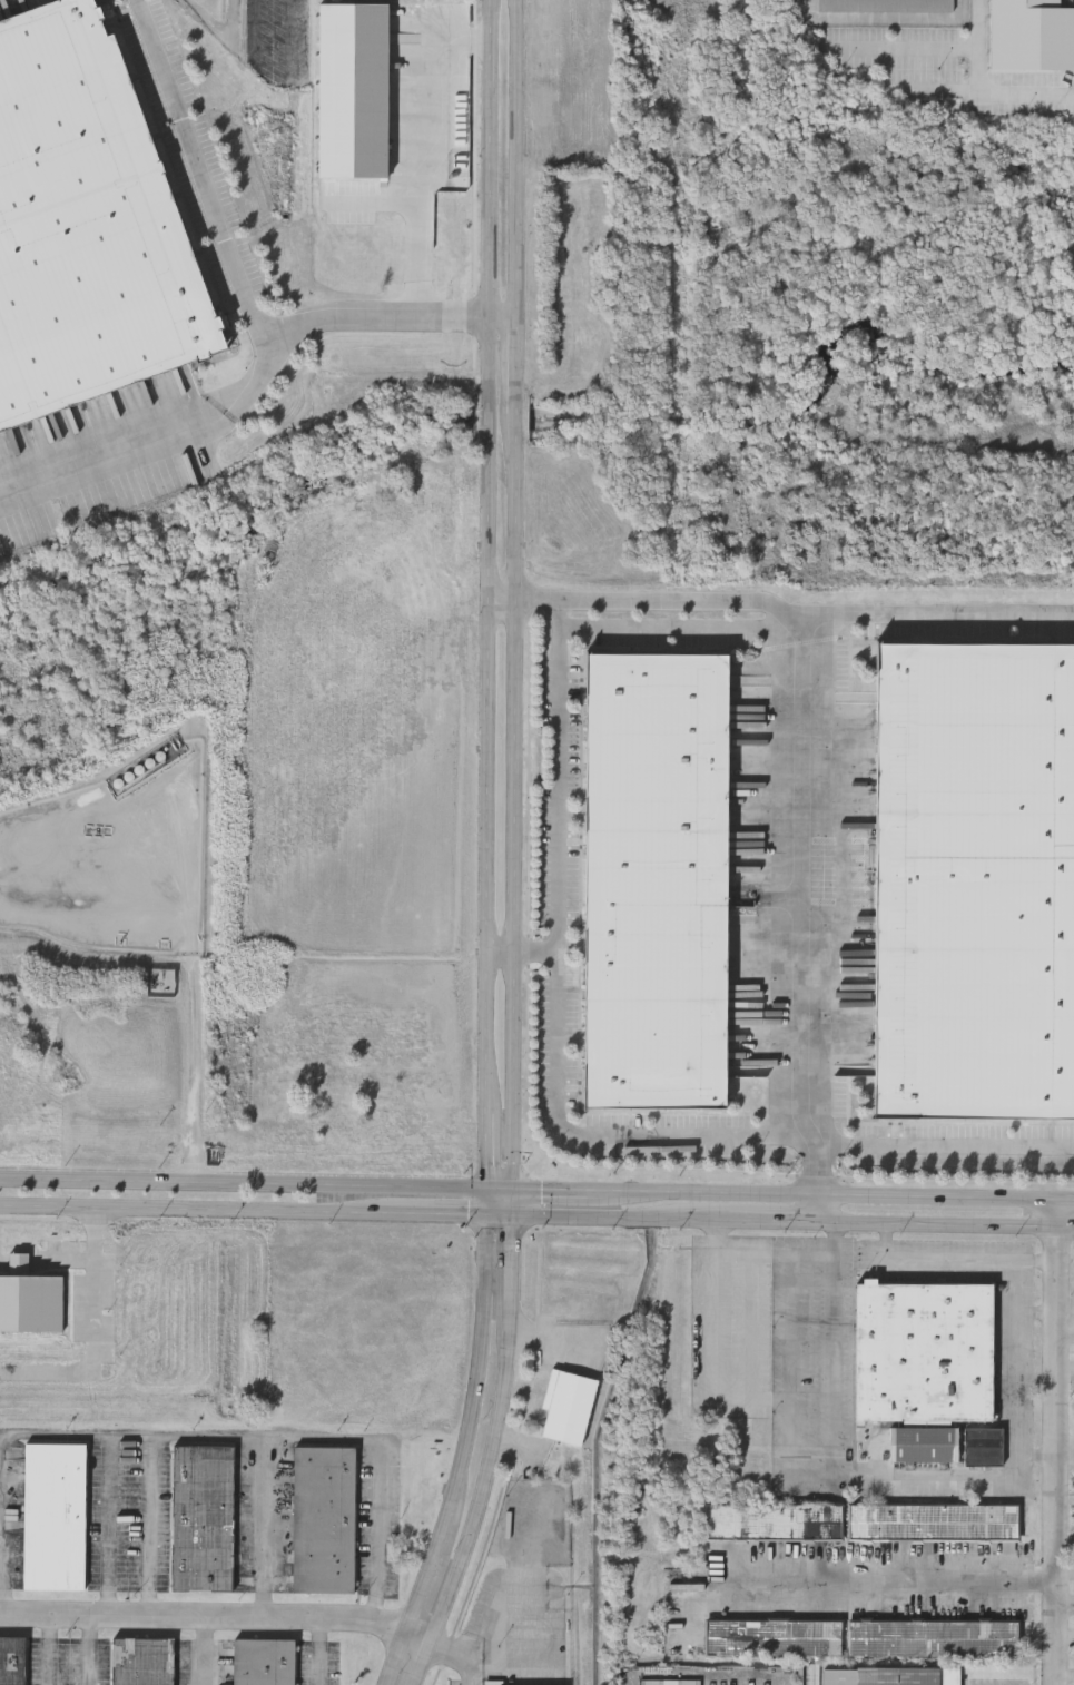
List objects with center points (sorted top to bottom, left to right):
building: (885, 4)
road: (886, 16)
road: (231, 22)
road: (255, 30)
road: (292, 40)
road: (906, 48)
road: (981, 90)
road: (420, 151)
building: (85, 223)
road: (393, 318)
road: (267, 323)
road: (650, 593)
road: (516, 597)
road: (679, 625)
building: (155, 763)
road: (809, 785)
road: (486, 849)
building: (543, 860)
building: (974, 878)
building: (656, 880)
road: (522, 953)
road: (558, 988)
building: (542, 1047)
road: (194, 1074)
road: (945, 1142)
road: (256, 1184)
traffic signals: (487, 1193)
traffic signals: (512, 1193)
road: (550, 1193)
road: (822, 1193)
road: (1065, 1202)
road: (512, 1204)
traffic signals: (486, 1216)
traffic signals: (512, 1216)
road: (536, 1216)
road: (954, 1257)
road: (1036, 1311)
road: (97, 1338)
road: (549, 1340)
building: (923, 1362)
road: (1016, 1376)
road: (772, 1397)
building: (568, 1406)
road: (834, 1425)
road: (240, 1435)
road: (515, 1438)
road: (1056, 1442)
building: (983, 1446)
road: (491, 1456)
road: (1, 1472)
road: (932, 1481)
building: (55, 1516)
building: (203, 1516)
building: (323, 1518)
building: (774, 1521)
building: (934, 1521)
road: (149, 1527)
road: (262, 1528)
road: (903, 1578)
road: (217, 1620)
building: (774, 1638)
building: (935, 1638)
road: (467, 1649)
road: (46, 1653)
road: (89, 1653)
road: (201, 1653)
road: (317, 1653)
building: (11, 1659)
building: (141, 1661)
building: (262, 1661)
building: (891, 1675)

